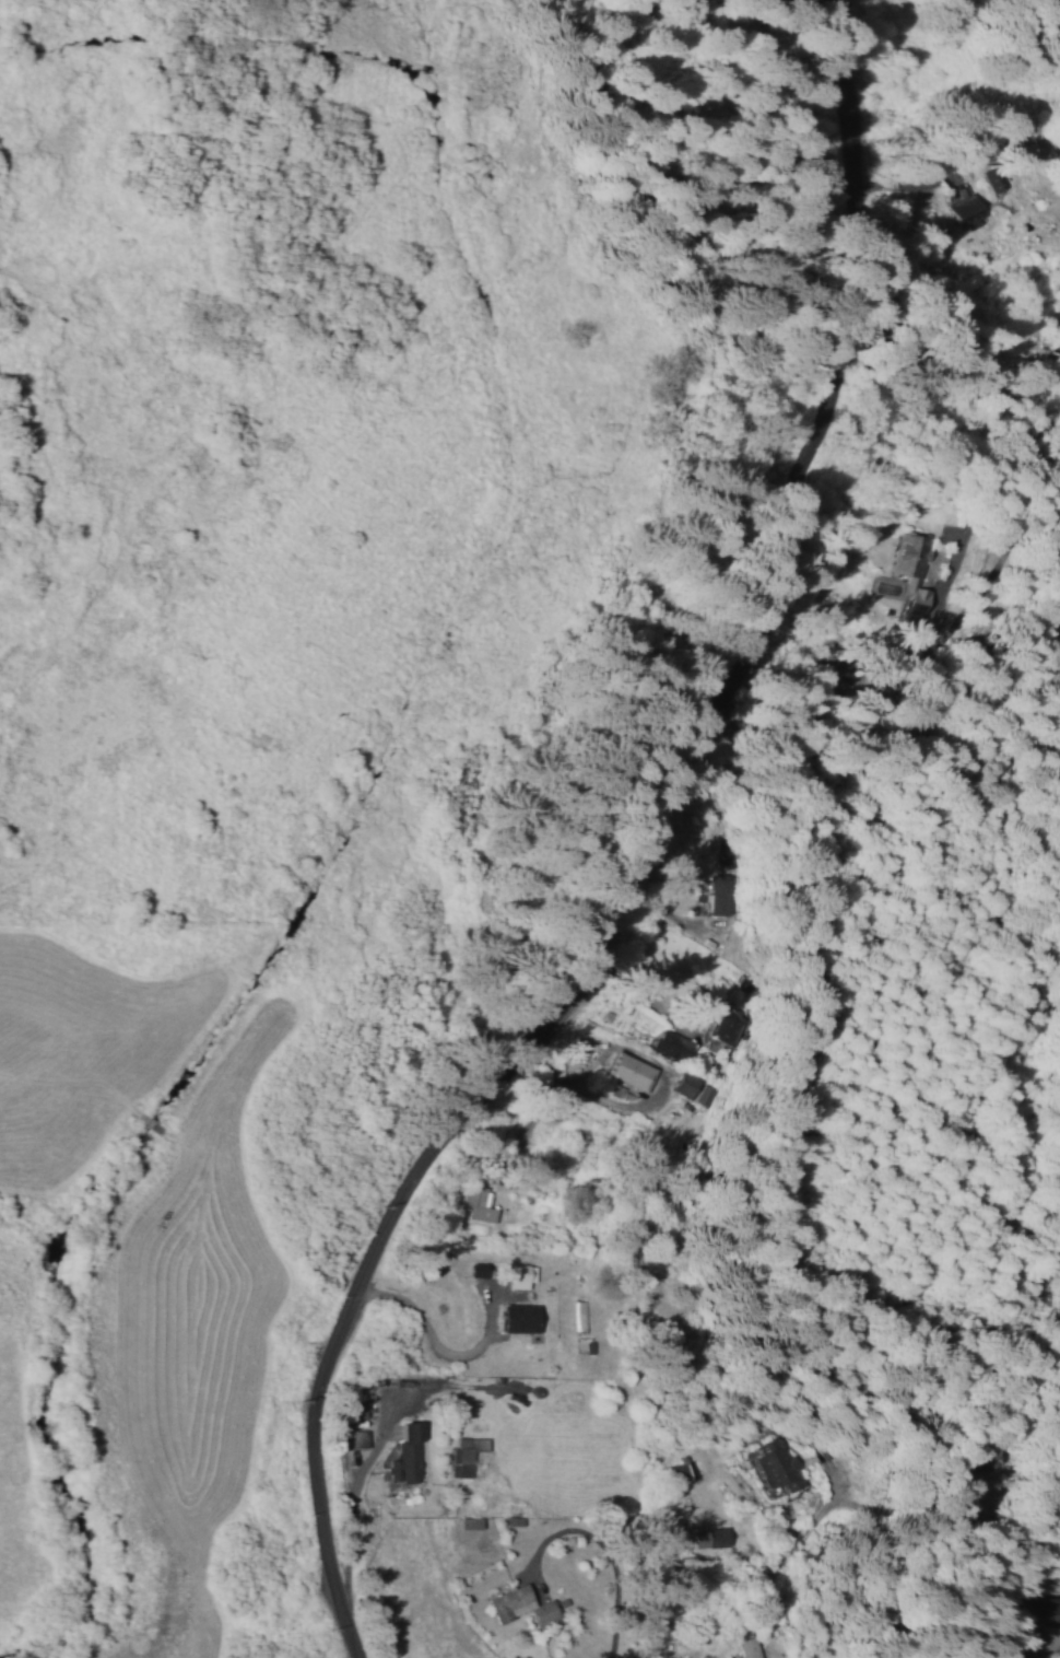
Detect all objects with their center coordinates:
building: (993, 177)
building: (918, 573)
road: (632, 846)
building: (719, 900)
building: (673, 1044)
building: (683, 1084)
building: (706, 1095)
building: (519, 1275)
building: (517, 1317)
building: (467, 1448)
building: (404, 1452)
building: (778, 1466)
building: (675, 1472)
road: (1047, 1519)
building: (707, 1537)
building: (517, 1603)
building: (750, 1648)
road: (1050, 1655)

